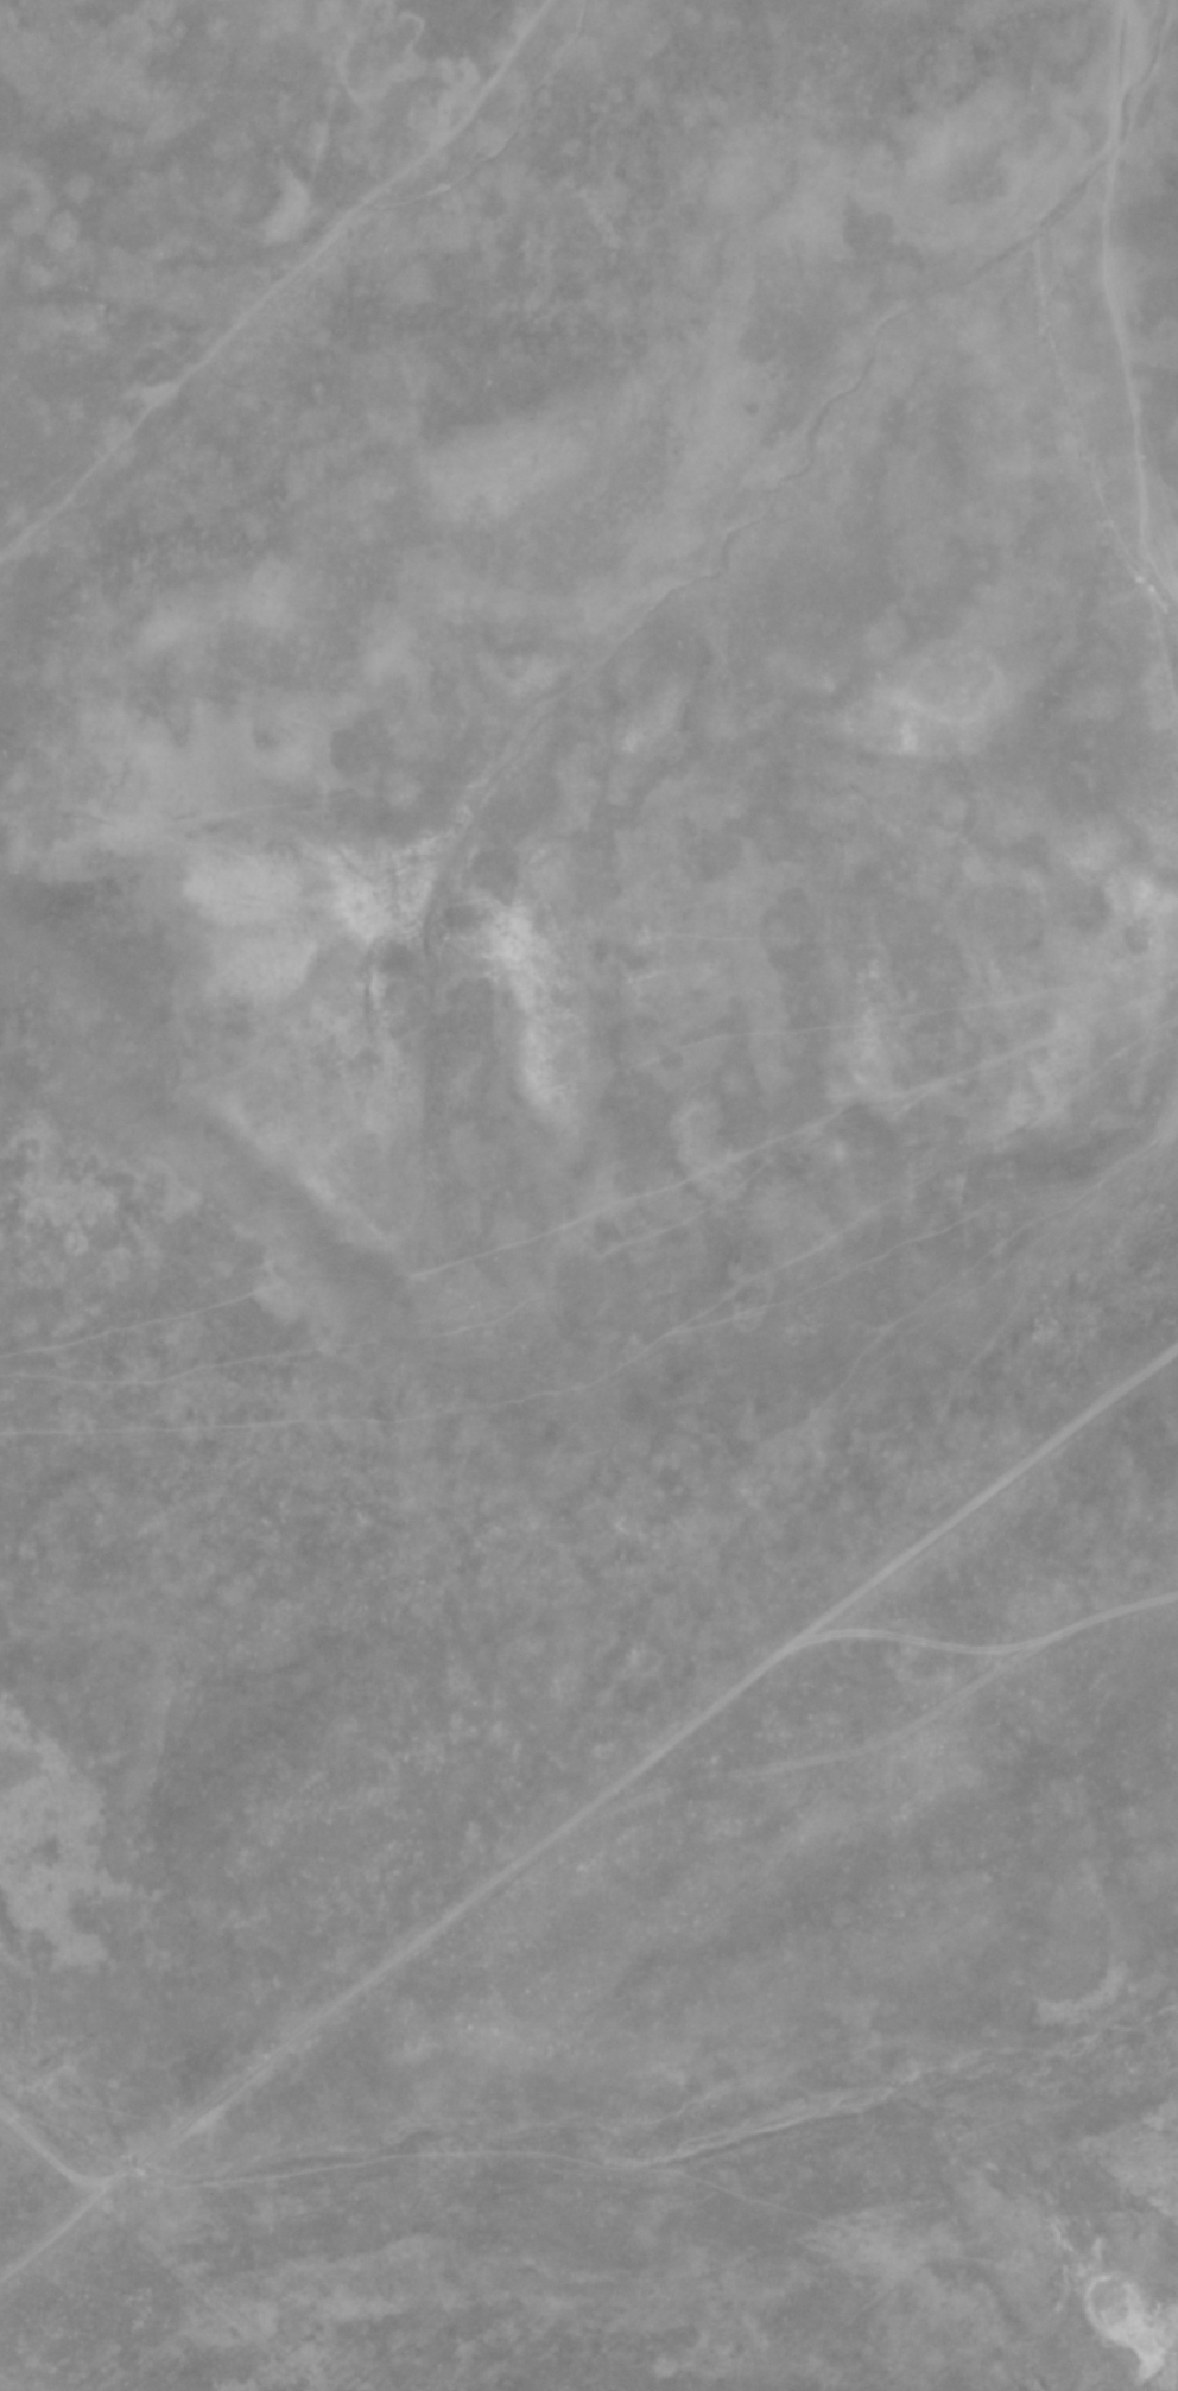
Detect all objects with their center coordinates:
road: (588, 2173)

